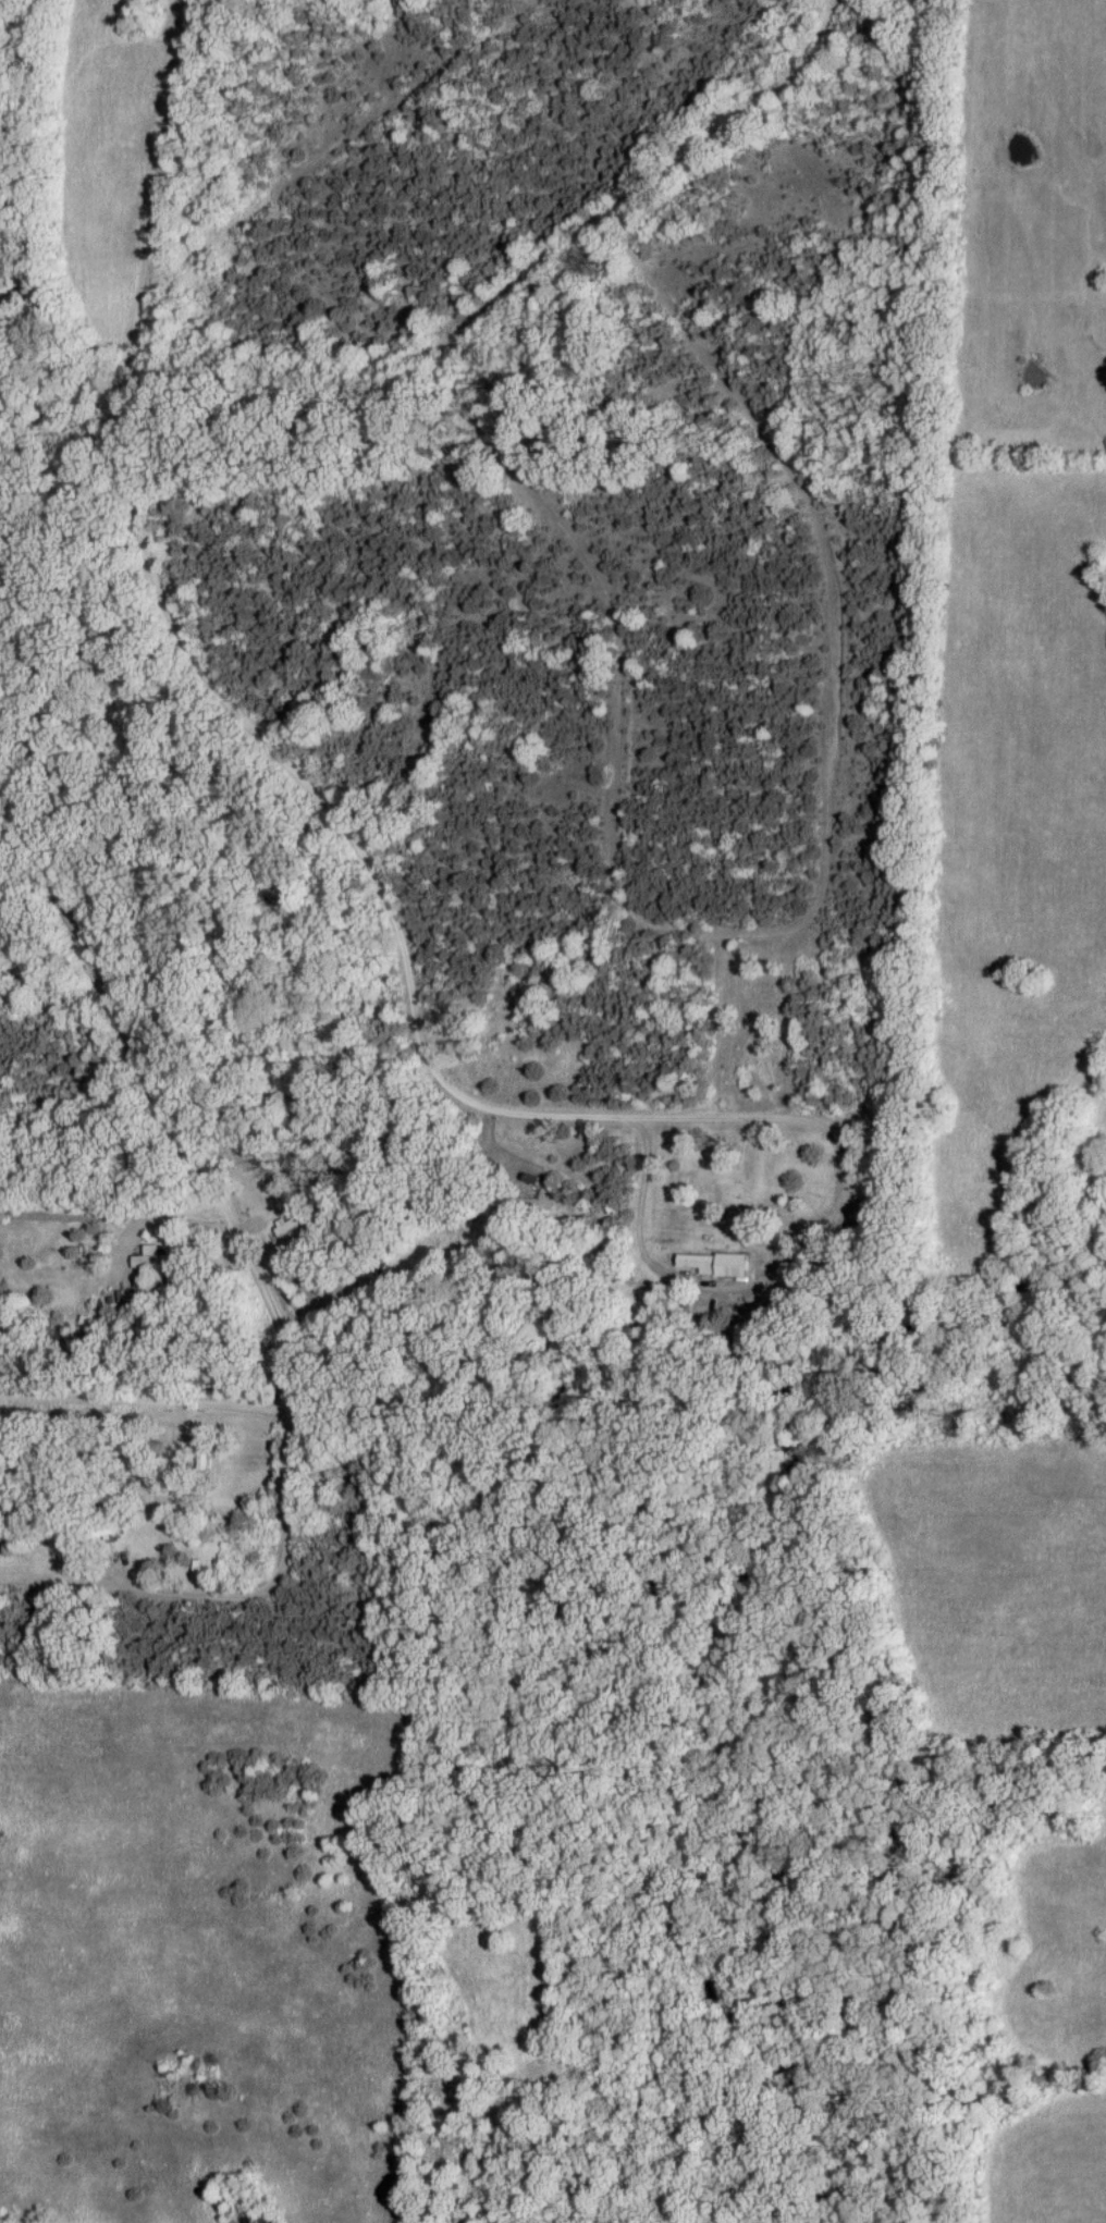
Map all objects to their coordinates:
road: (531, 491)
road: (833, 566)
road: (196, 663)
road: (12, 847)
road: (164, 1101)
road: (151, 1220)
building: (294, 1223)
road: (812, 1250)
building: (152, 1261)
building: (698, 1262)
road: (145, 1402)
building: (201, 1463)
building: (98, 1533)
road: (224, 1595)

